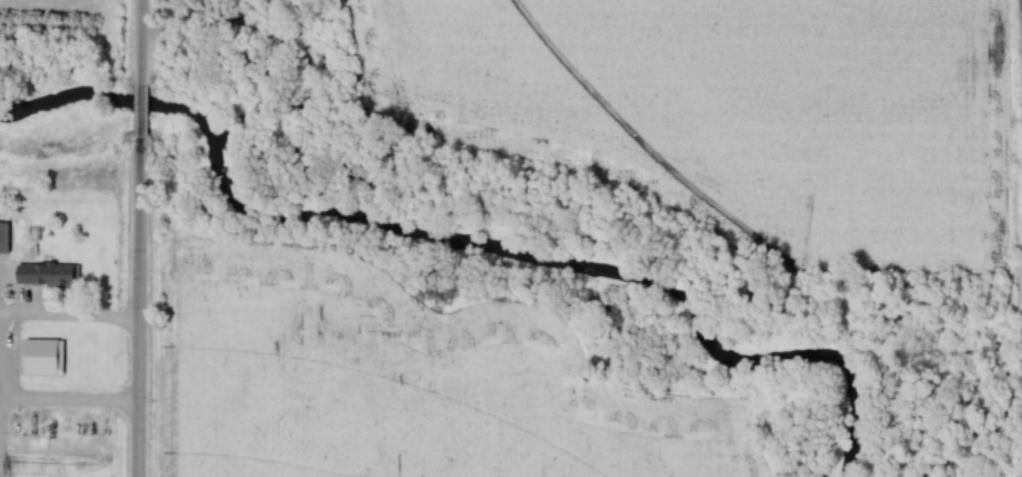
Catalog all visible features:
crop: (47, 5)
road: (142, 43)
crop: (503, 93)
road: (143, 110)
crop: (822, 113)
building: (6, 237)
building: (53, 277)
road: (140, 305)
road: (65, 320)

